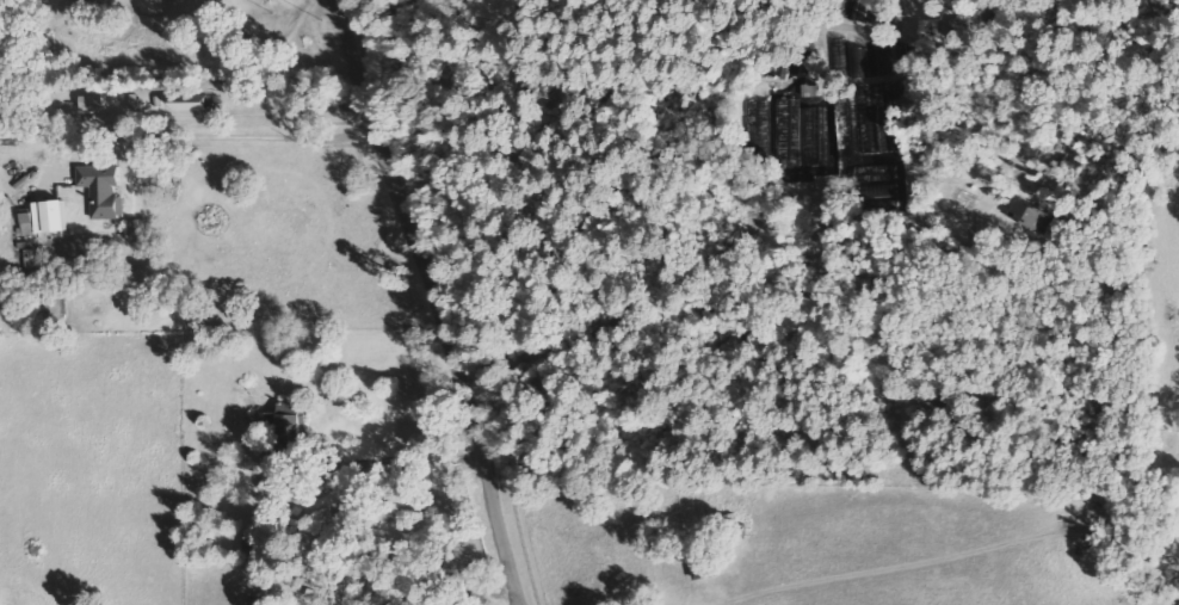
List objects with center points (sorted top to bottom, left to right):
building: (856, 58)
building: (903, 60)
building: (94, 100)
building: (192, 103)
building: (875, 179)
building: (104, 190)
building: (1030, 214)
building: (54, 215)
building: (27, 222)
road: (437, 301)
building: (294, 421)
building: (278, 457)
building: (248, 543)

